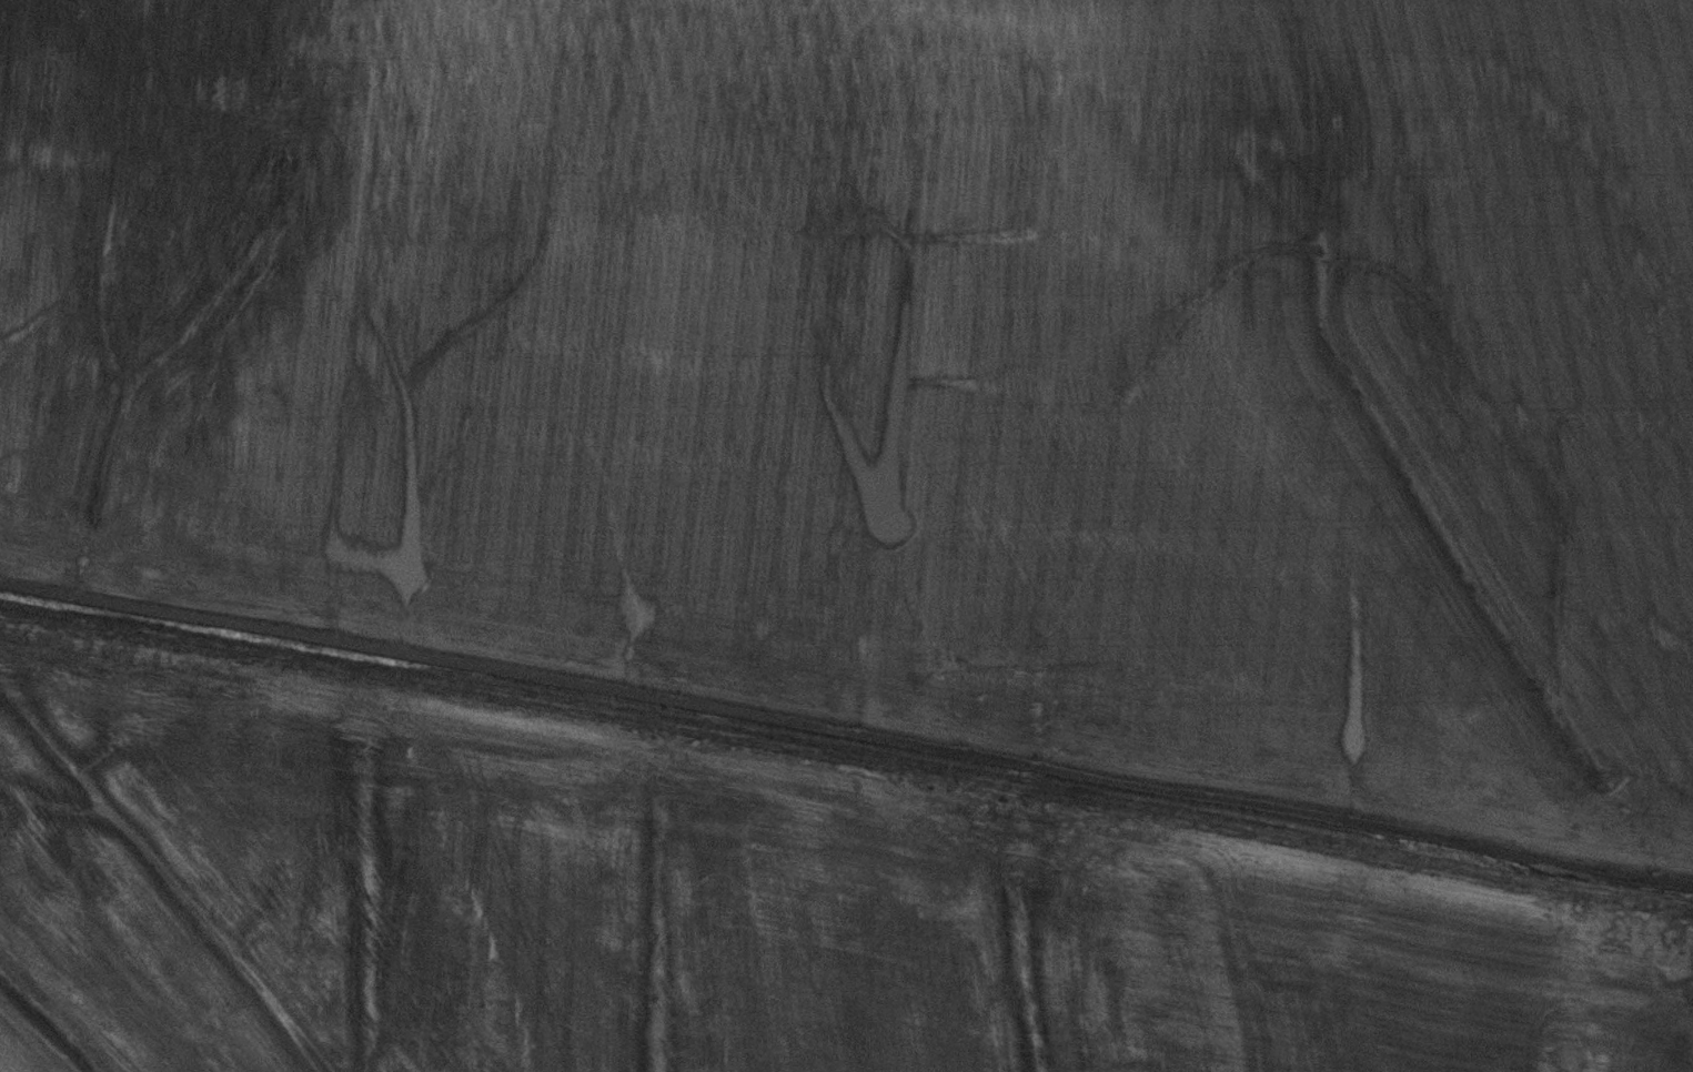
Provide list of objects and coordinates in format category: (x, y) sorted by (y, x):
road: (846, 682)

